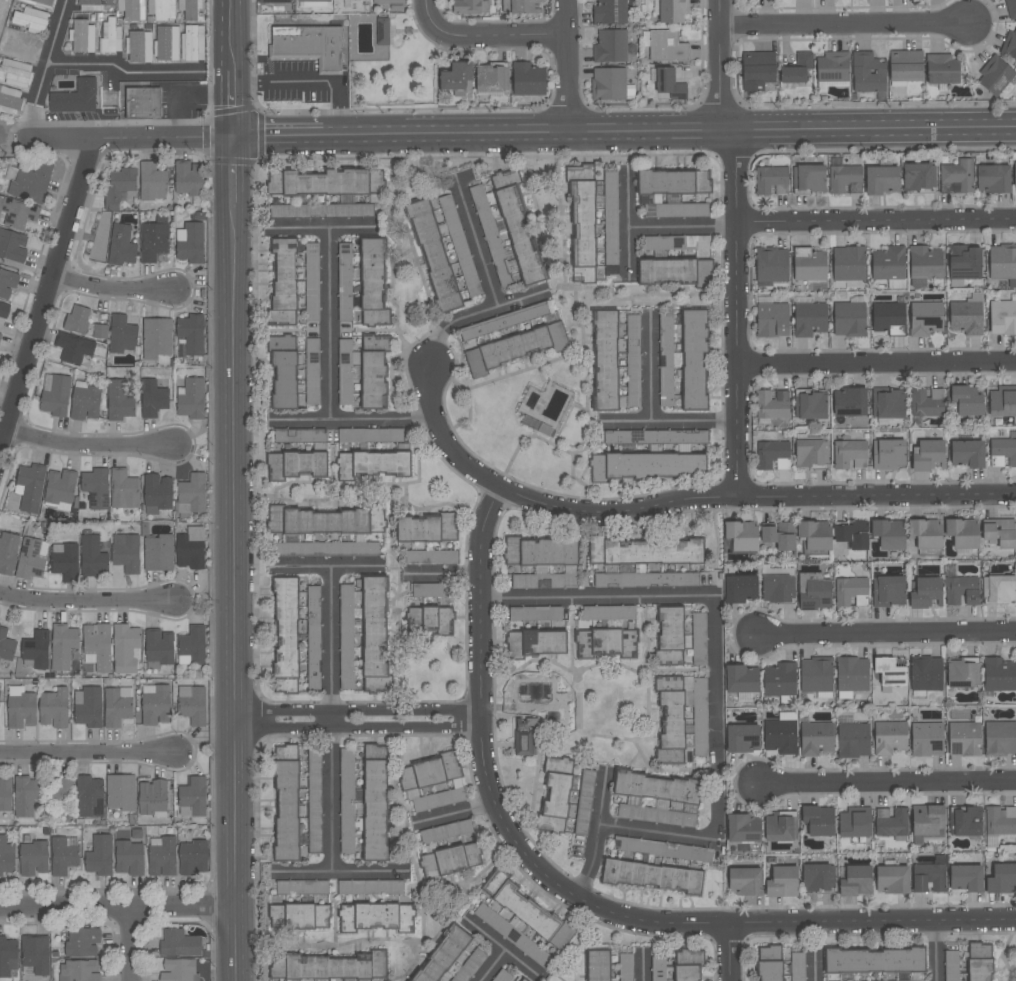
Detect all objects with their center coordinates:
building: (312, 0)
building: (387, 0)
building: (801, 0)
building: (899, 0)
building: (935, 0)
building: (274, 1)
building: (41, 2)
building: (94, 4)
building: (470, 6)
building: (521, 6)
building: (190, 8)
building: (1011, 8)
building: (162, 9)
building: (130, 10)
building: (671, 10)
building: (610, 11)
building: (32, 19)
building: (150, 20)
road: (841, 24)
building: (149, 27)
building: (382, 31)
building: (83, 35)
road: (487, 36)
building: (111, 37)
building: (193, 42)
building: (167, 44)
building: (1009, 44)
building: (21, 45)
building: (308, 45)
building: (139, 46)
building: (610, 46)
building: (666, 47)
building: (905, 65)
building: (833, 66)
road: (120, 67)
road: (568, 67)
road: (718, 67)
road: (234, 68)
building: (797, 68)
building: (942, 68)
building: (758, 69)
road: (46, 70)
building: (16, 72)
building: (868, 72)
building: (995, 75)
building: (455, 76)
building: (490, 77)
building: (527, 79)
road: (312, 81)
building: (608, 82)
building: (669, 83)
building: (110, 90)
building: (76, 97)
building: (10, 100)
building: (143, 102)
road: (671, 133)
road: (281, 138)
road: (164, 139)
road: (59, 140)
building: (1014, 175)
building: (808, 176)
building: (916, 176)
building: (956, 176)
building: (993, 177)
building: (189, 178)
building: (845, 178)
building: (881, 178)
building: (771, 180)
building: (30, 181)
building: (153, 181)
building: (673, 181)
building: (327, 182)
building: (120, 187)
building: (674, 209)
building: (321, 211)
building: (17, 212)
road: (876, 221)
building: (610, 224)
road: (627, 225)
road: (682, 225)
building: (517, 226)
road: (325, 228)
building: (584, 231)
building: (100, 235)
building: (490, 235)
building: (154, 239)
building: (676, 242)
building: (192, 243)
road: (479, 243)
building: (13, 245)
building: (122, 245)
building: (459, 245)
building: (433, 255)
building: (965, 261)
building: (1003, 262)
building: (848, 263)
building: (772, 264)
building: (924, 264)
building: (809, 265)
building: (889, 266)
building: (675, 270)
building: (283, 281)
building: (312, 282)
building: (7, 283)
building: (372, 283)
road: (111, 288)
road: (45, 298)
building: (4, 310)
road: (477, 313)
road: (736, 314)
building: (889, 317)
building: (966, 317)
building: (1002, 317)
building: (925, 318)
building: (78, 319)
building: (809, 319)
building: (849, 319)
building: (772, 320)
building: (503, 321)
road: (332, 323)
building: (101, 328)
building: (192, 332)
building: (123, 334)
building: (1, 336)
building: (157, 337)
building: (525, 344)
building: (74, 347)
building: (693, 359)
building: (605, 360)
building: (633, 360)
building: (666, 360)
building: (474, 363)
road: (876, 363)
building: (283, 371)
building: (312, 371)
building: (374, 371)
road: (653, 372)
building: (344, 384)
building: (56, 395)
building: (154, 398)
building: (192, 398)
building: (120, 400)
building: (968, 400)
building: (85, 401)
building: (849, 401)
building: (1002, 401)
building: (888, 402)
building: (926, 402)
building: (772, 403)
building: (810, 404)
road: (354, 418)
road: (669, 422)
building: (546, 431)
building: (299, 435)
building: (370, 435)
building: (657, 437)
road: (90, 444)
building: (1003, 451)
building: (809, 452)
building: (888, 452)
building: (966, 452)
building: (773, 454)
building: (850, 454)
building: (929, 455)
building: (295, 464)
building: (373, 464)
building: (647, 465)
building: (60, 486)
building: (30, 487)
building: (97, 488)
building: (124, 490)
building: (158, 493)
building: (191, 495)
road: (682, 500)
building: (378, 518)
building: (318, 520)
building: (426, 528)
building: (145, 529)
building: (926, 532)
building: (999, 532)
building: (815, 533)
building: (852, 533)
building: (888, 533)
building: (962, 533)
building: (779, 535)
building: (740, 536)
building: (326, 548)
building: (191, 549)
building: (540, 551)
building: (645, 551)
building: (8, 552)
building: (126, 552)
building: (159, 552)
building: (93, 555)
building: (431, 557)
building: (30, 559)
road: (236, 559)
building: (66, 561)
road: (330, 566)
road: (445, 573)
building: (546, 578)
building: (646, 579)
building: (740, 588)
building: (998, 588)
building: (849, 589)
building: (431, 590)
building: (888, 590)
building: (814, 591)
building: (962, 591)
building: (926, 592)
road: (597, 598)
road: (85, 601)
building: (609, 612)
building: (535, 613)
building: (430, 619)
building: (364, 633)
building: (285, 634)
building: (669, 636)
road: (886, 636)
building: (698, 638)
building: (313, 640)
building: (543, 641)
building: (606, 642)
building: (64, 644)
building: (7, 645)
building: (98, 646)
building: (192, 646)
building: (125, 648)
building: (159, 648)
building: (36, 650)
building: (889, 671)
building: (960, 673)
building: (926, 674)
building: (999, 674)
building: (851, 675)
building: (816, 676)
building: (780, 679)
building: (741, 681)
building: (0, 692)
building: (192, 704)
building: (118, 706)
building: (156, 706)
building: (89, 707)
road: (359, 707)
building: (55, 708)
building: (22, 710)
building: (557, 713)
building: (700, 717)
road: (329, 719)
building: (670, 719)
road: (360, 725)
building: (781, 734)
building: (524, 736)
building: (742, 737)
building: (889, 737)
building: (964, 738)
building: (815, 739)
building: (927, 739)
building: (853, 740)
building: (285, 752)
road: (85, 753)
building: (432, 783)
road: (885, 784)
building: (121, 792)
building: (26, 795)
building: (61, 795)
building: (555, 795)
building: (89, 797)
building: (193, 797)
building: (5, 799)
building: (153, 799)
building: (657, 799)
building: (314, 801)
building: (347, 801)
building: (375, 802)
building: (584, 802)
road: (601, 804)
building: (286, 811)
road: (454, 812)
road: (718, 814)
building: (133, 820)
building: (819, 820)
building: (1000, 820)
building: (852, 822)
building: (891, 822)
building: (927, 822)
building: (779, 827)
building: (743, 828)
building: (47, 831)
building: (445, 831)
building: (137, 834)
building: (662, 849)
building: (100, 855)
building: (6, 856)
building: (63, 856)
building: (162, 856)
building: (193, 857)
building: (34, 858)
building: (130, 858)
building: (450, 861)
road: (341, 873)
building: (929, 875)
building: (651, 876)
building: (816, 877)
building: (965, 877)
building: (892, 879)
building: (1002, 879)
building: (744, 880)
building: (856, 880)
building: (782, 881)
building: (301, 887)
building: (370, 887)
road: (574, 897)
building: (518, 904)
road: (118, 908)
building: (298, 916)
building: (376, 917)
building: (83, 942)
road: (128, 944)
building: (180, 944)
road: (500, 950)
road: (934, 951)
road: (730, 952)
building: (36, 954)
building: (207, 954)
building: (442, 955)
building: (8, 956)
building: (874, 960)
building: (978, 962)
building: (769, 963)
road: (644, 964)
building: (598, 965)
building: (687, 965)
building: (951, 965)
building: (329, 966)
building: (470, 966)
building: (797, 966)
road: (523, 967)
building: (625, 967)
building: (658, 968)
road: (813, 968)
building: (80, 970)
building: (180, 970)
building: (502, 976)
building: (356, 979)
building: (522, 979)
building: (912, 980)

